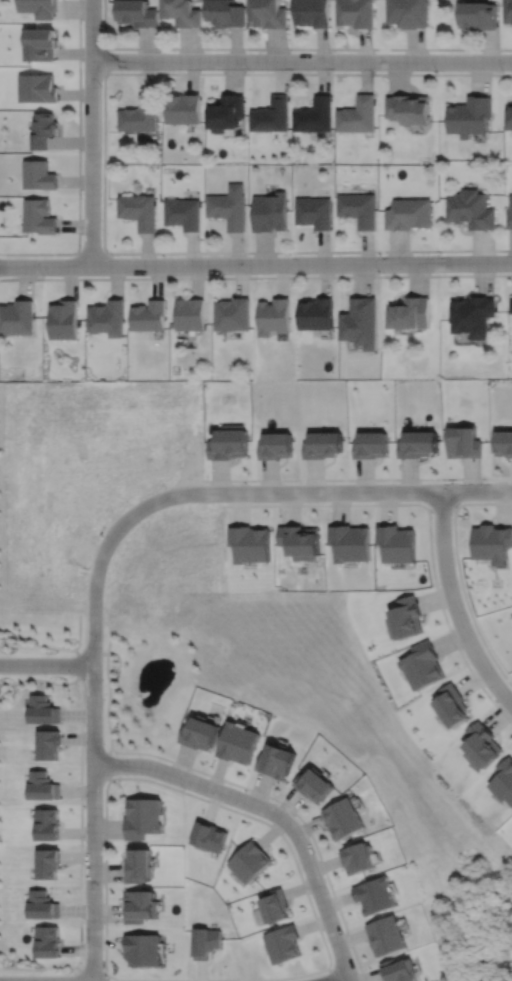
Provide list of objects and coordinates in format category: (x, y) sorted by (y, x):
building: (39, 7)
building: (509, 10)
building: (183, 12)
building: (227, 12)
building: (313, 12)
building: (409, 12)
building: (138, 13)
building: (270, 13)
building: (357, 13)
building: (479, 14)
road: (103, 36)
building: (40, 44)
road: (307, 47)
road: (301, 60)
road: (217, 72)
street lamp: (100, 85)
building: (37, 87)
building: (182, 108)
building: (410, 108)
building: (225, 112)
building: (139, 114)
building: (271, 115)
building: (314, 115)
building: (359, 115)
building: (472, 116)
building: (511, 116)
building: (42, 129)
road: (90, 132)
road: (78, 165)
building: (39, 175)
street lamp: (81, 197)
building: (229, 207)
building: (358, 209)
building: (471, 209)
building: (139, 211)
building: (270, 212)
building: (313, 212)
building: (509, 212)
building: (183, 213)
building: (409, 214)
building: (39, 217)
road: (295, 251)
street lamp: (112, 254)
road: (255, 263)
street lamp: (42, 275)
road: (255, 276)
building: (511, 303)
building: (409, 310)
building: (316, 311)
building: (188, 312)
building: (231, 312)
building: (147, 313)
building: (471, 313)
building: (273, 314)
building: (17, 315)
building: (105, 315)
building: (62, 318)
building: (360, 320)
building: (461, 440)
building: (227, 441)
building: (416, 441)
building: (502, 441)
building: (321, 442)
building: (369, 443)
building: (274, 444)
road: (356, 478)
road: (191, 492)
road: (440, 508)
road: (429, 524)
building: (299, 540)
building: (349, 541)
building: (249, 542)
building: (396, 542)
building: (491, 542)
road: (458, 574)
road: (454, 604)
building: (404, 617)
road: (55, 646)
road: (105, 652)
building: (422, 664)
road: (53, 681)
building: (450, 705)
building: (198, 734)
building: (236, 743)
building: (481, 745)
building: (275, 761)
road: (209, 773)
building: (503, 781)
building: (313, 785)
road: (273, 811)
building: (143, 818)
building: (342, 819)
road: (92, 822)
building: (358, 859)
building: (250, 862)
building: (138, 865)
building: (377, 892)
building: (275, 906)
building: (140, 907)
road: (317, 926)
building: (387, 932)
building: (282, 944)
road: (350, 944)
road: (40, 967)
building: (401, 969)
road: (330, 973)
road: (338, 977)

